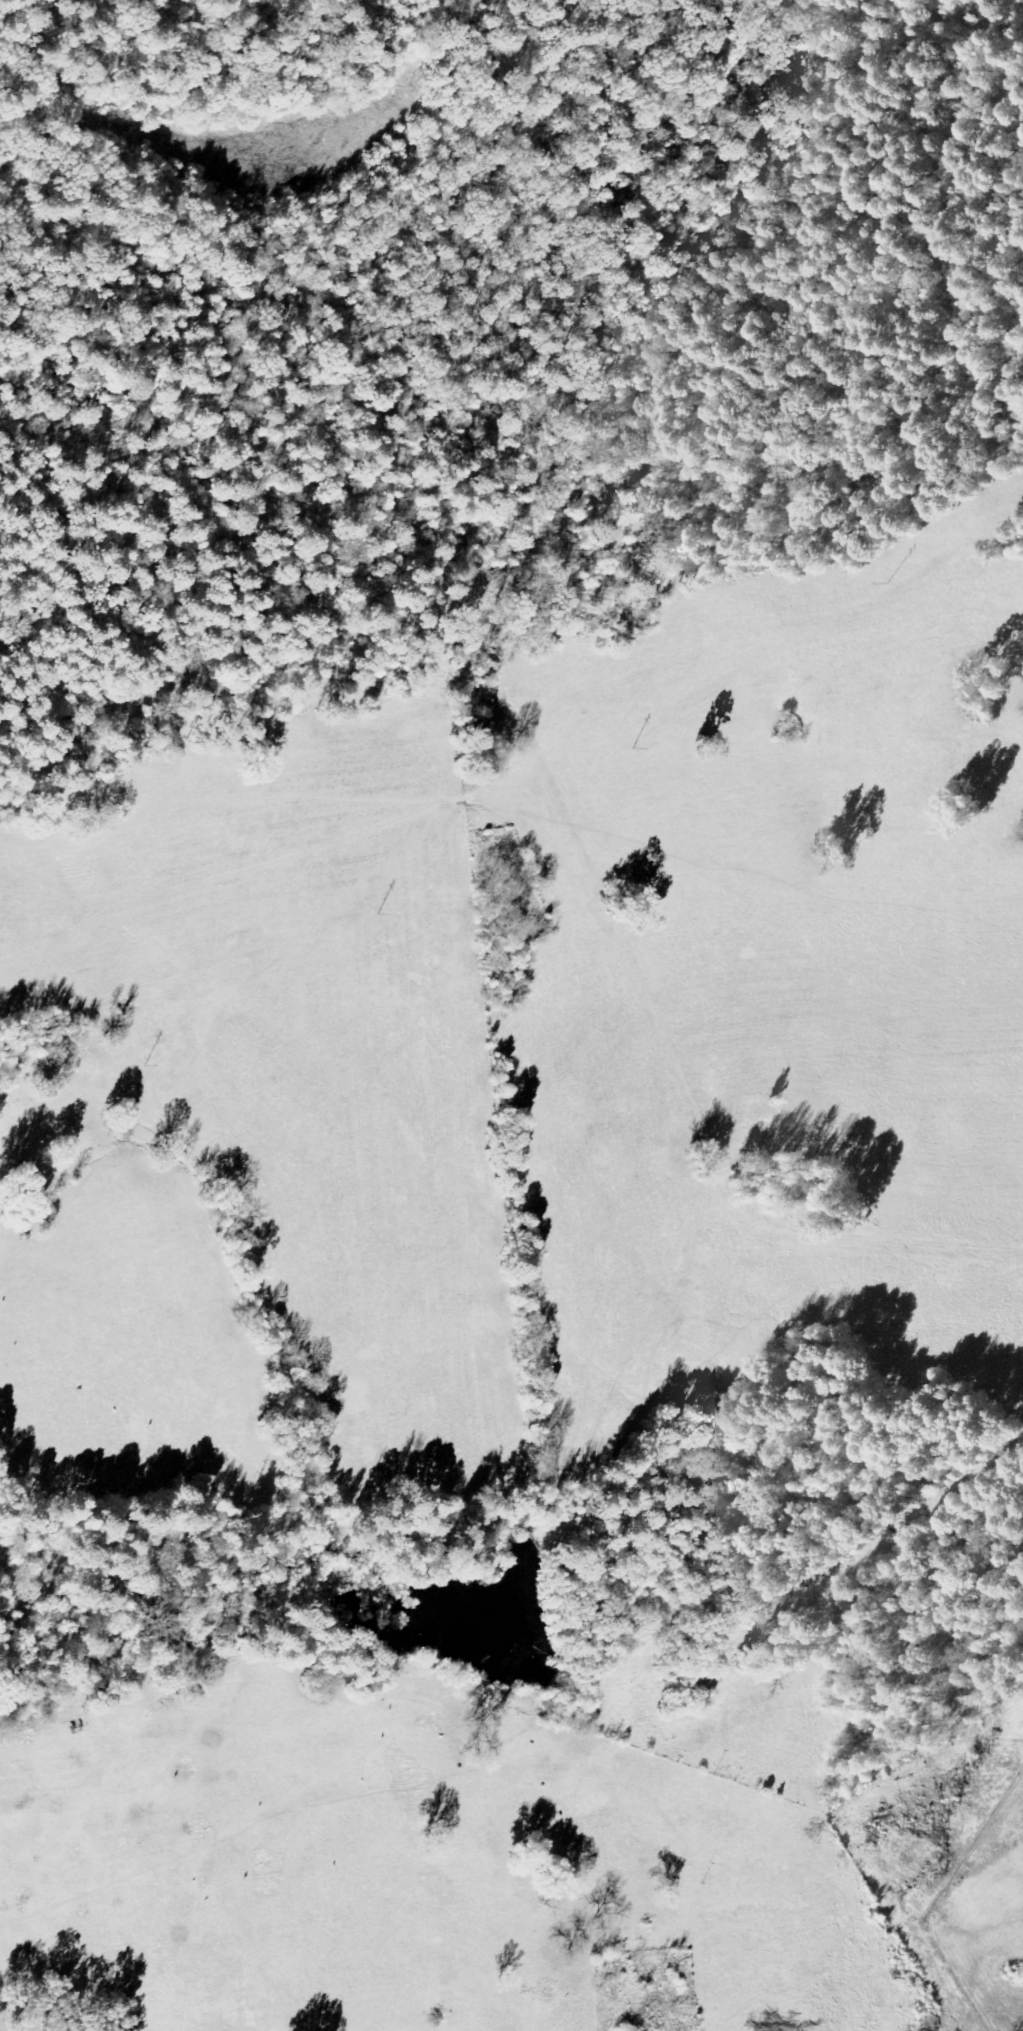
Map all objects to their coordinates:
airport: (983, 1894)

